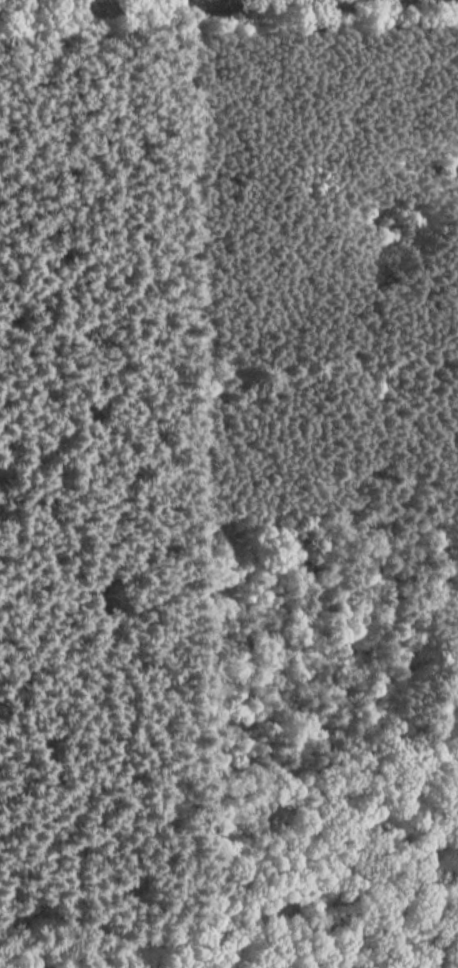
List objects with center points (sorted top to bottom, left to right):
road: (154, 3)
road: (162, 6)
road: (228, 159)
road: (265, 884)
road: (62, 957)

